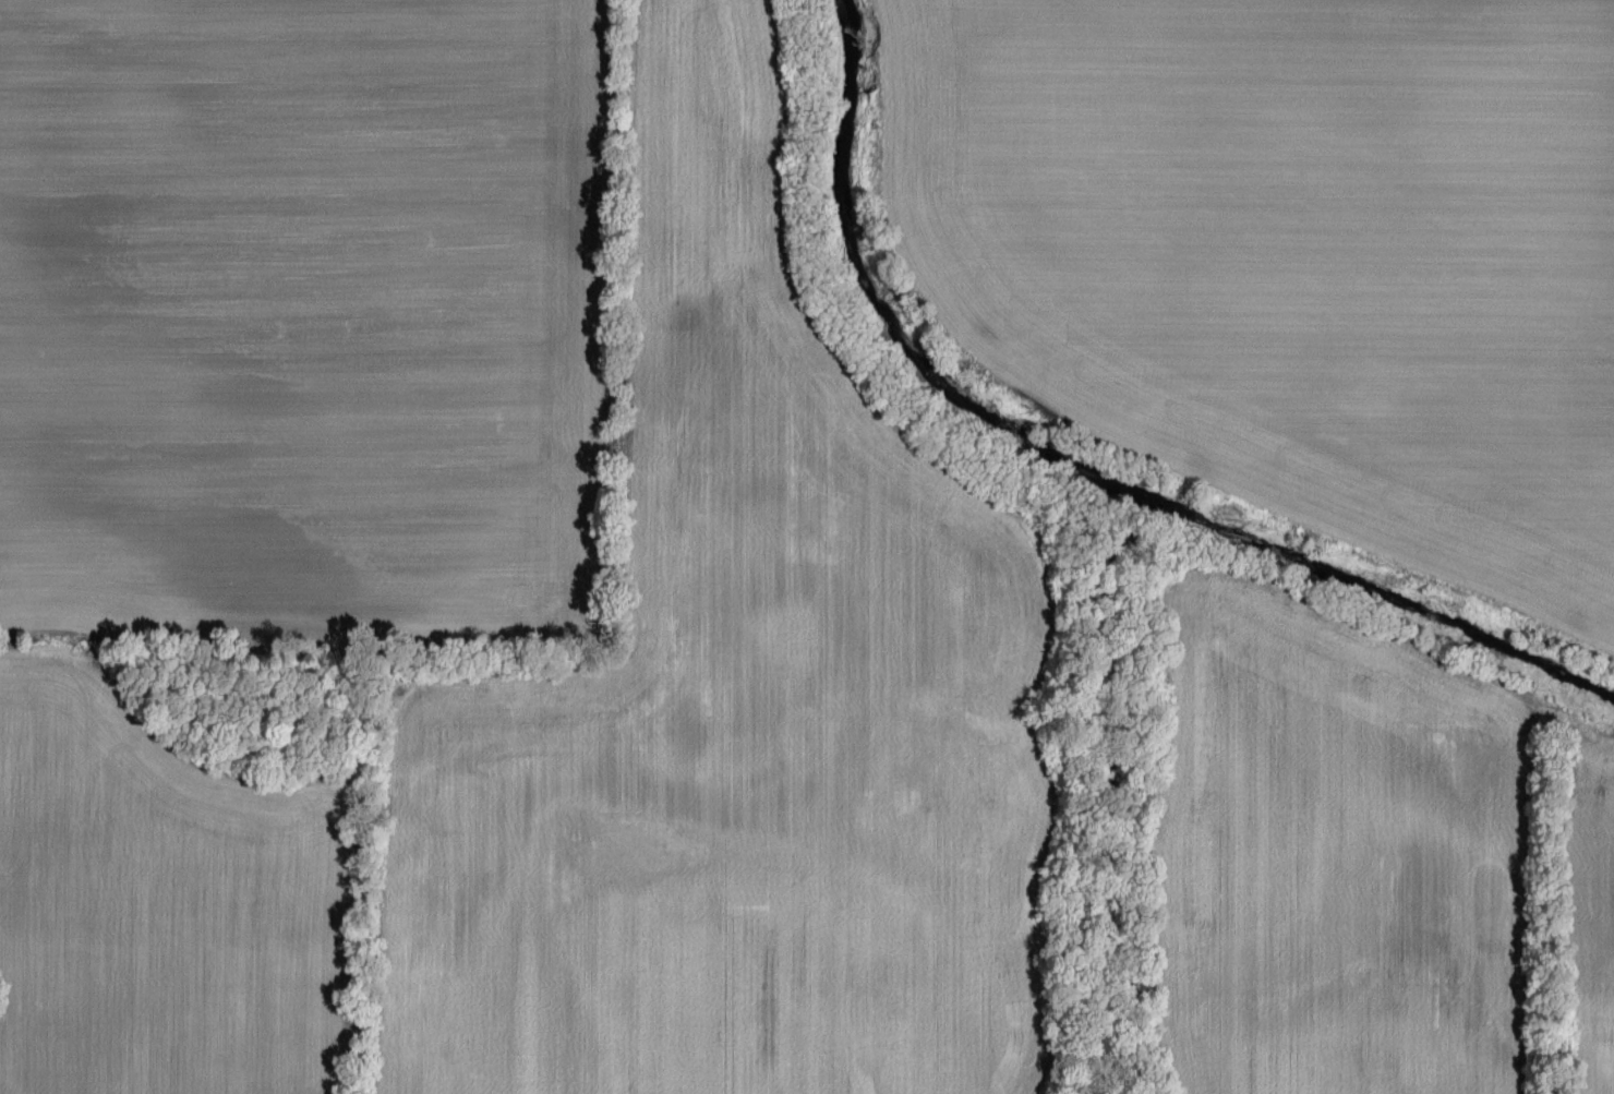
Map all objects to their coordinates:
river: (1084, 459)

